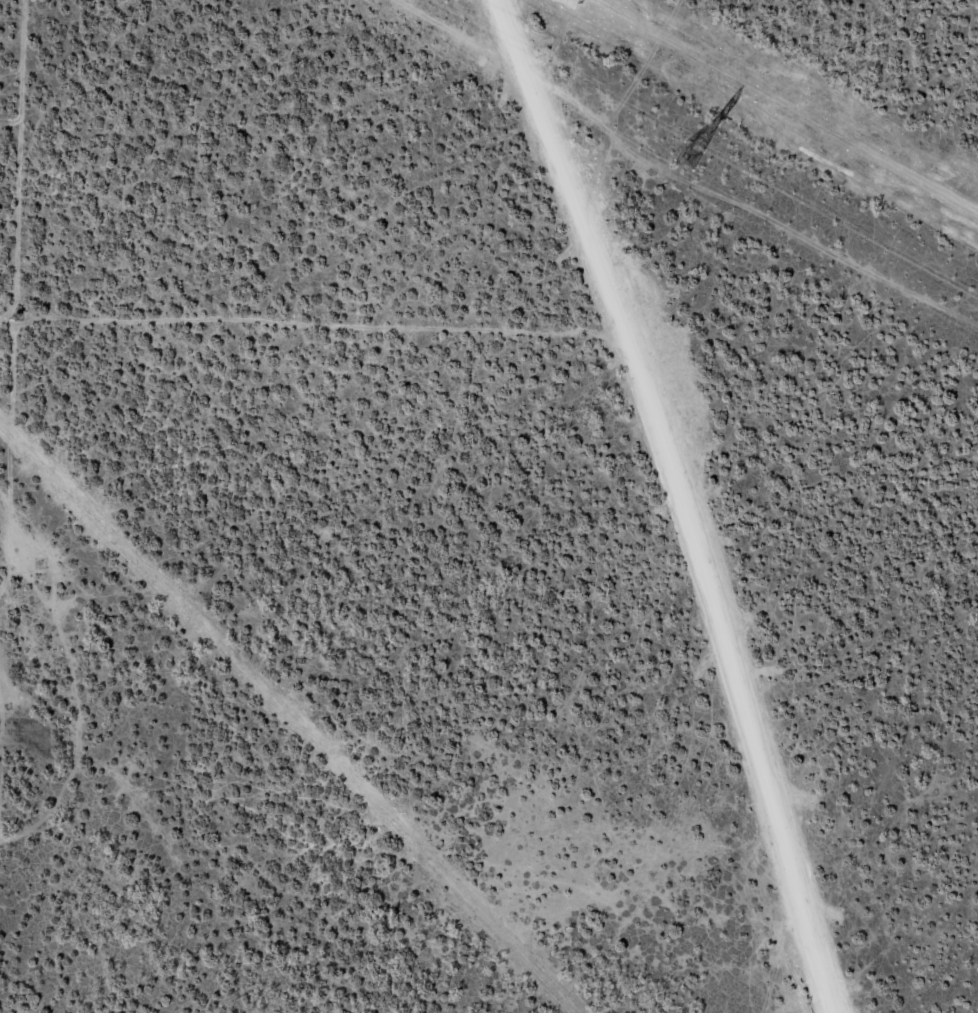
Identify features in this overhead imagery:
power tower: (683, 154)
road: (683, 501)

